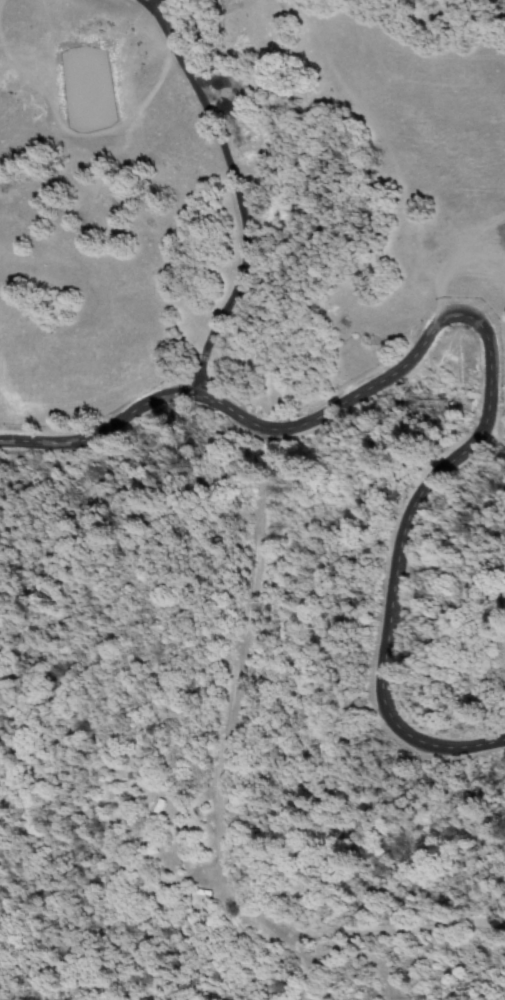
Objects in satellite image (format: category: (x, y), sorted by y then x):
road: (243, 191)
road: (482, 327)

